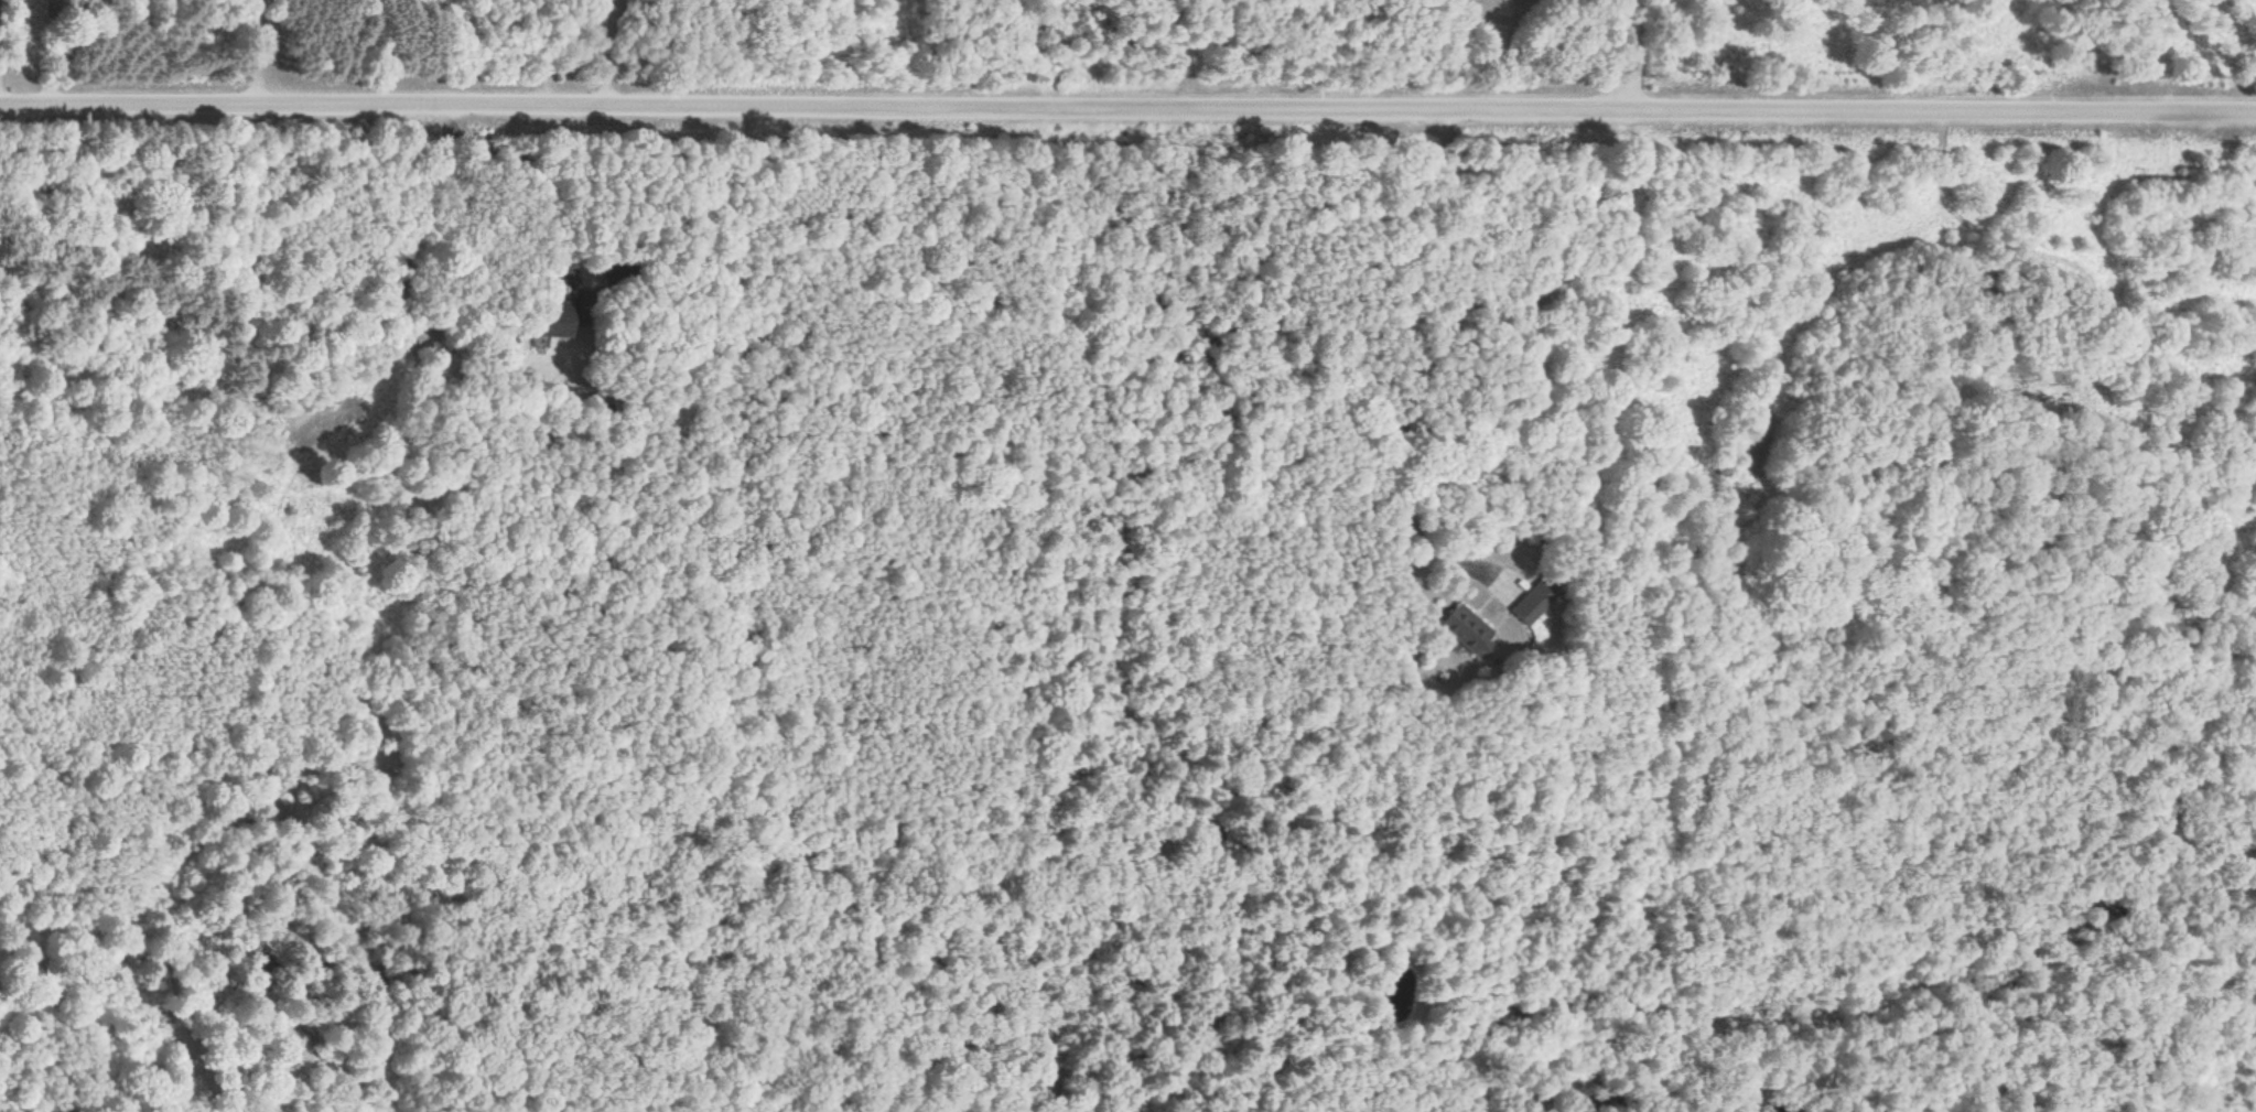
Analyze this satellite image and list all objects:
road: (1631, 52)
road: (1127, 108)
road: (1413, 369)
building: (1531, 601)
building: (1465, 631)

